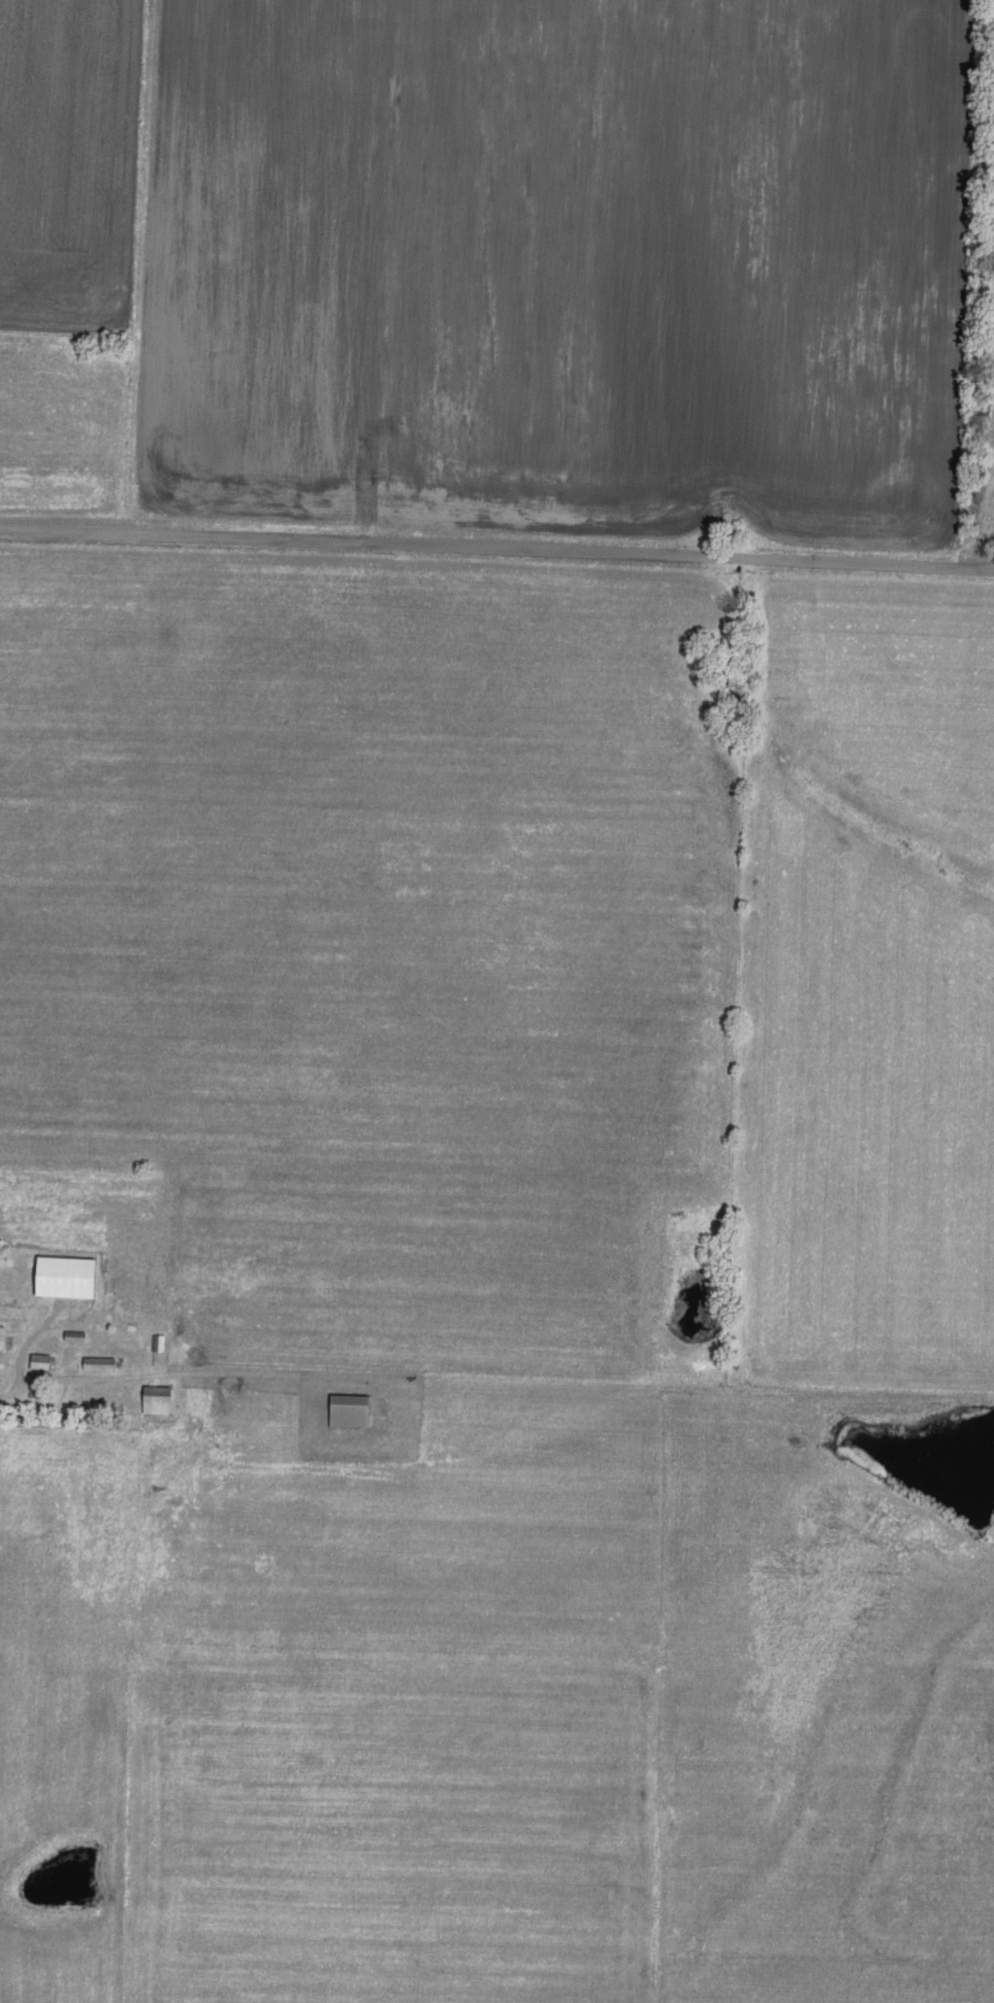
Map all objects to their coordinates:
road: (141, 267)
road: (496, 551)
building: (61, 1274)
road: (24, 1354)
building: (39, 1359)
building: (97, 1361)
building: (154, 1398)
building: (347, 1408)

